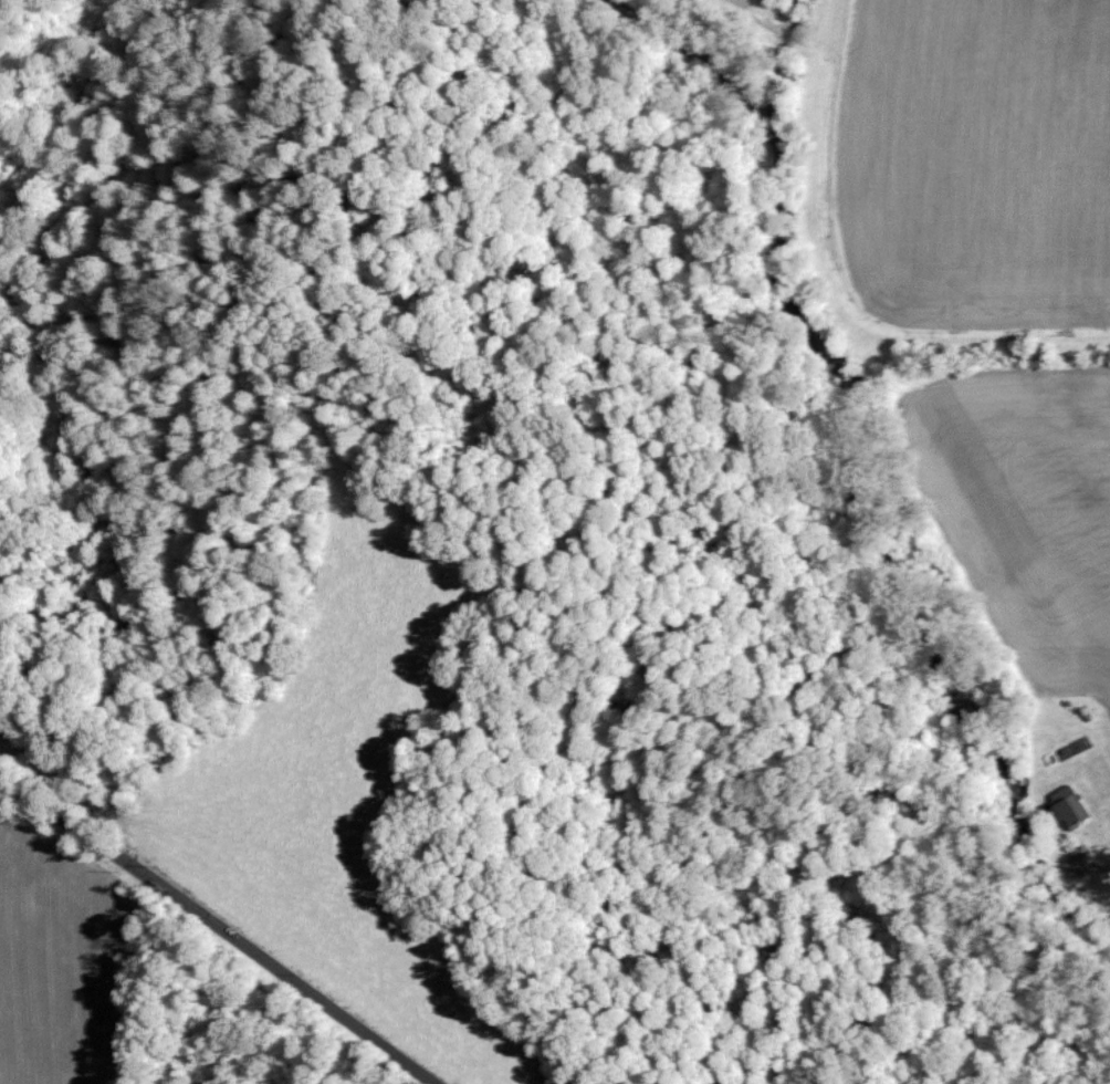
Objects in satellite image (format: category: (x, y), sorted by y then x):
building: (1068, 805)
road: (1100, 853)
building: (1077, 861)
road: (218, 927)

